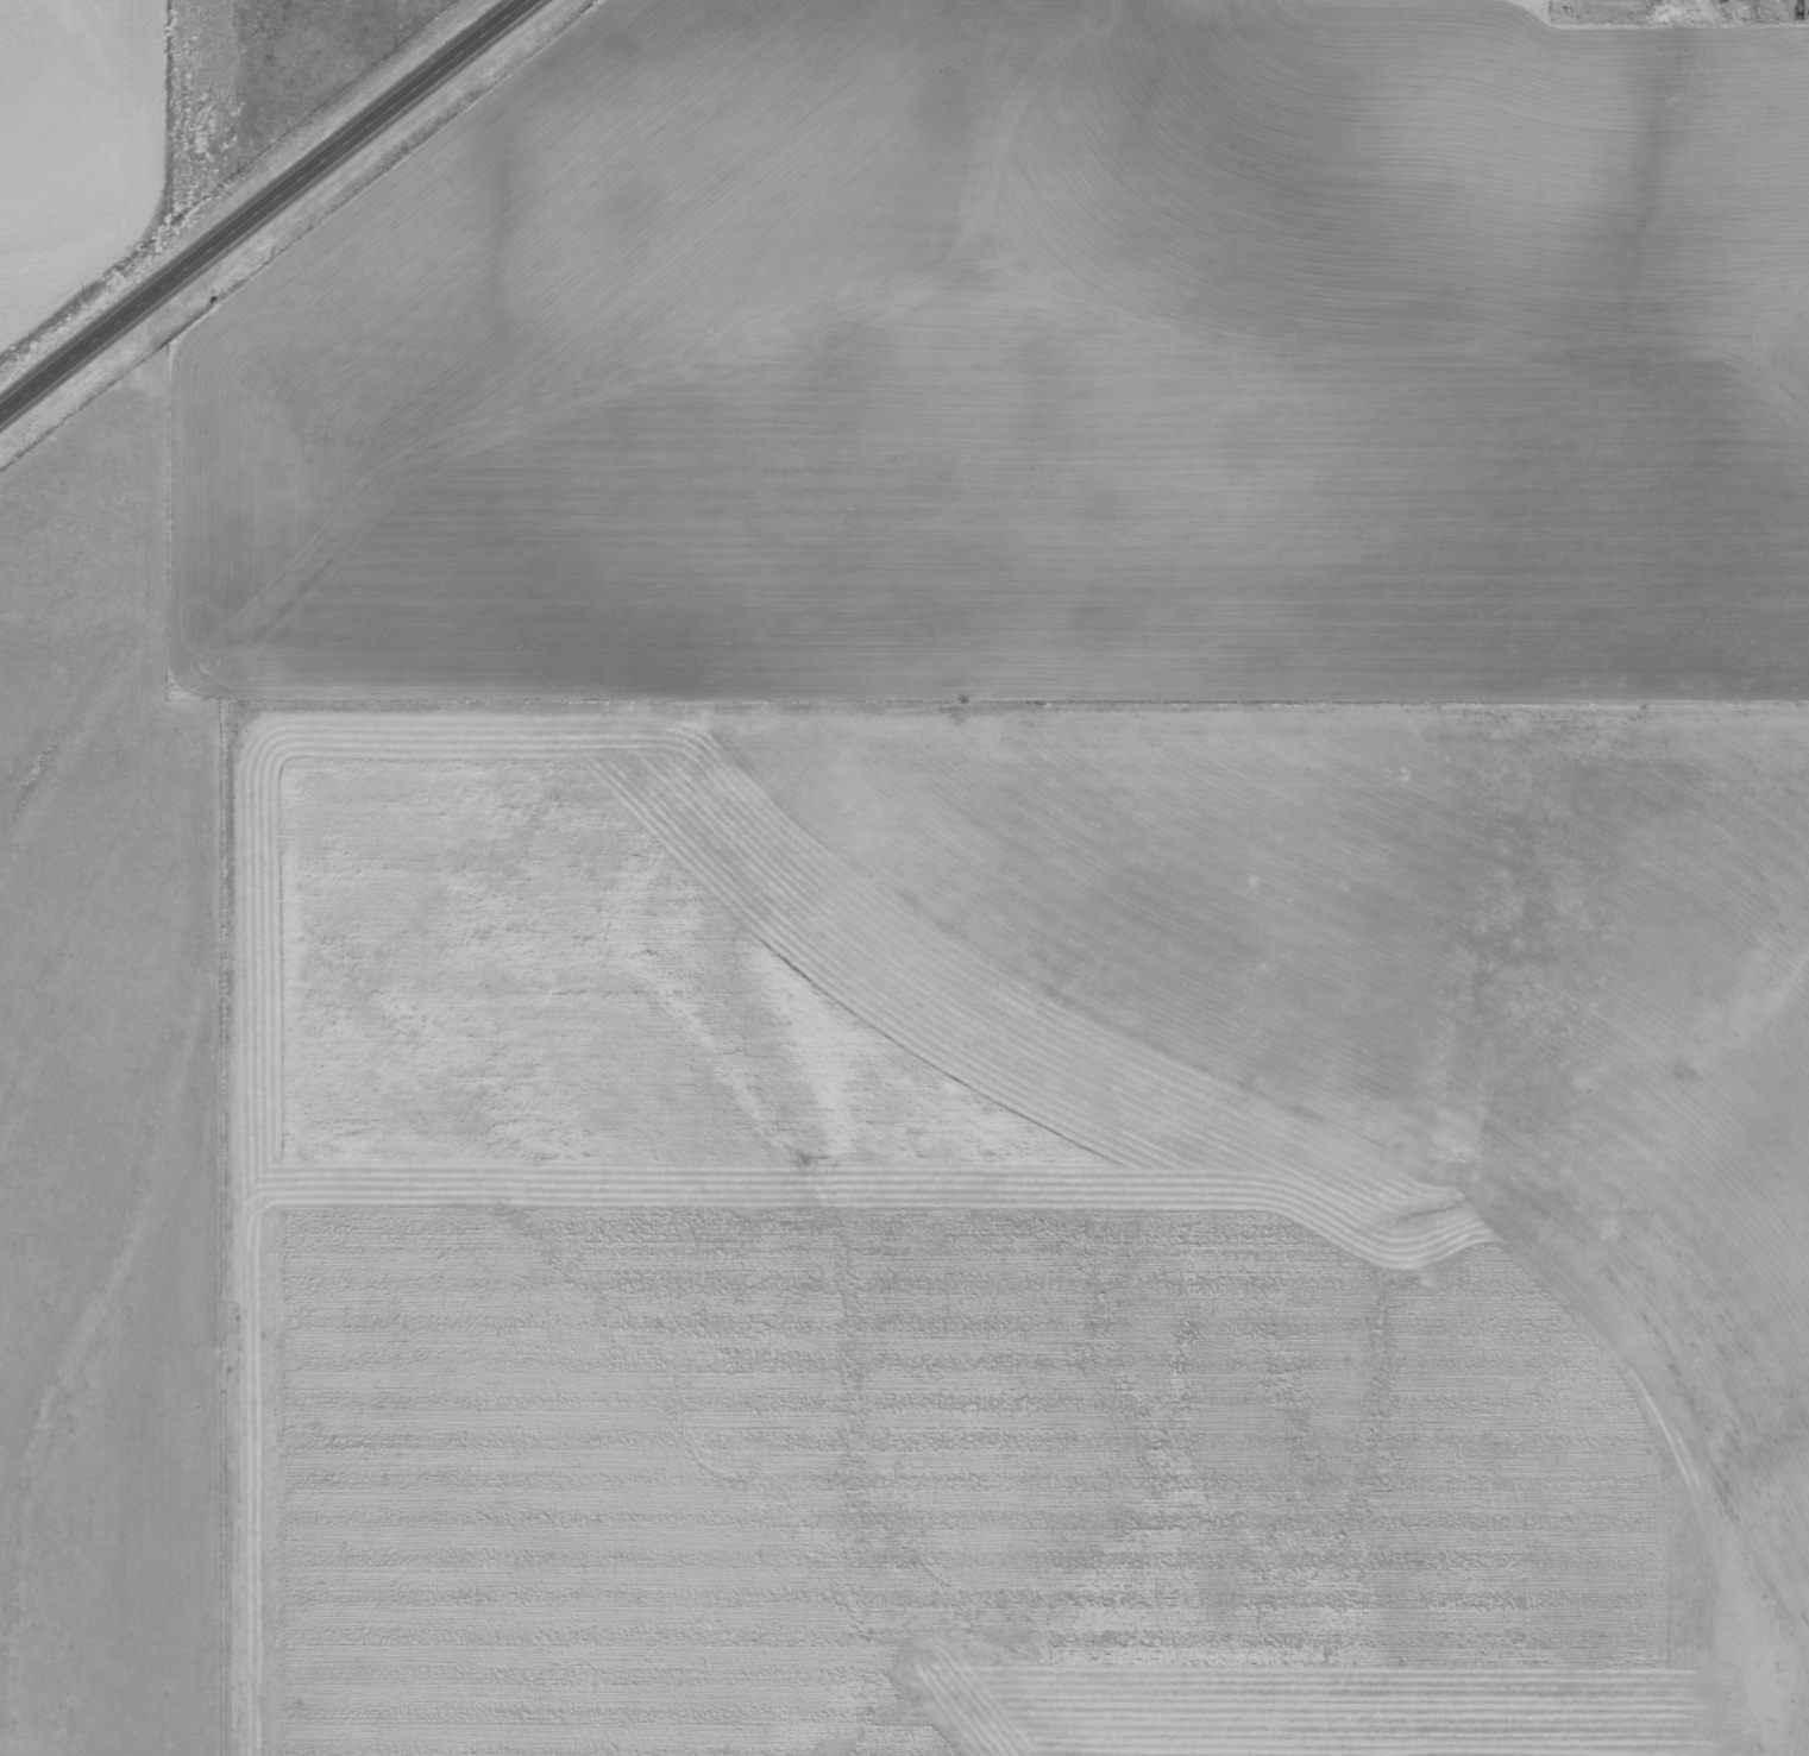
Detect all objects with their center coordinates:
road: (265, 209)

